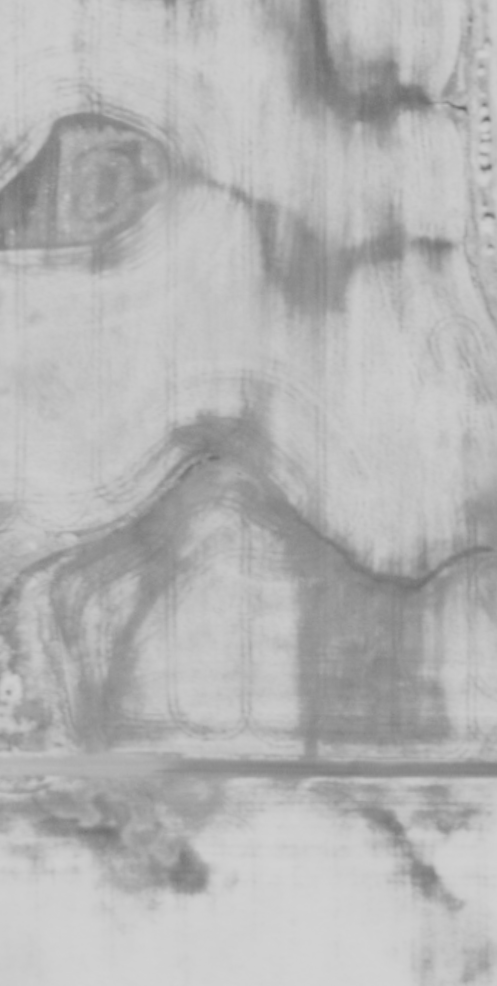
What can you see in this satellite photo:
road: (248, 766)

